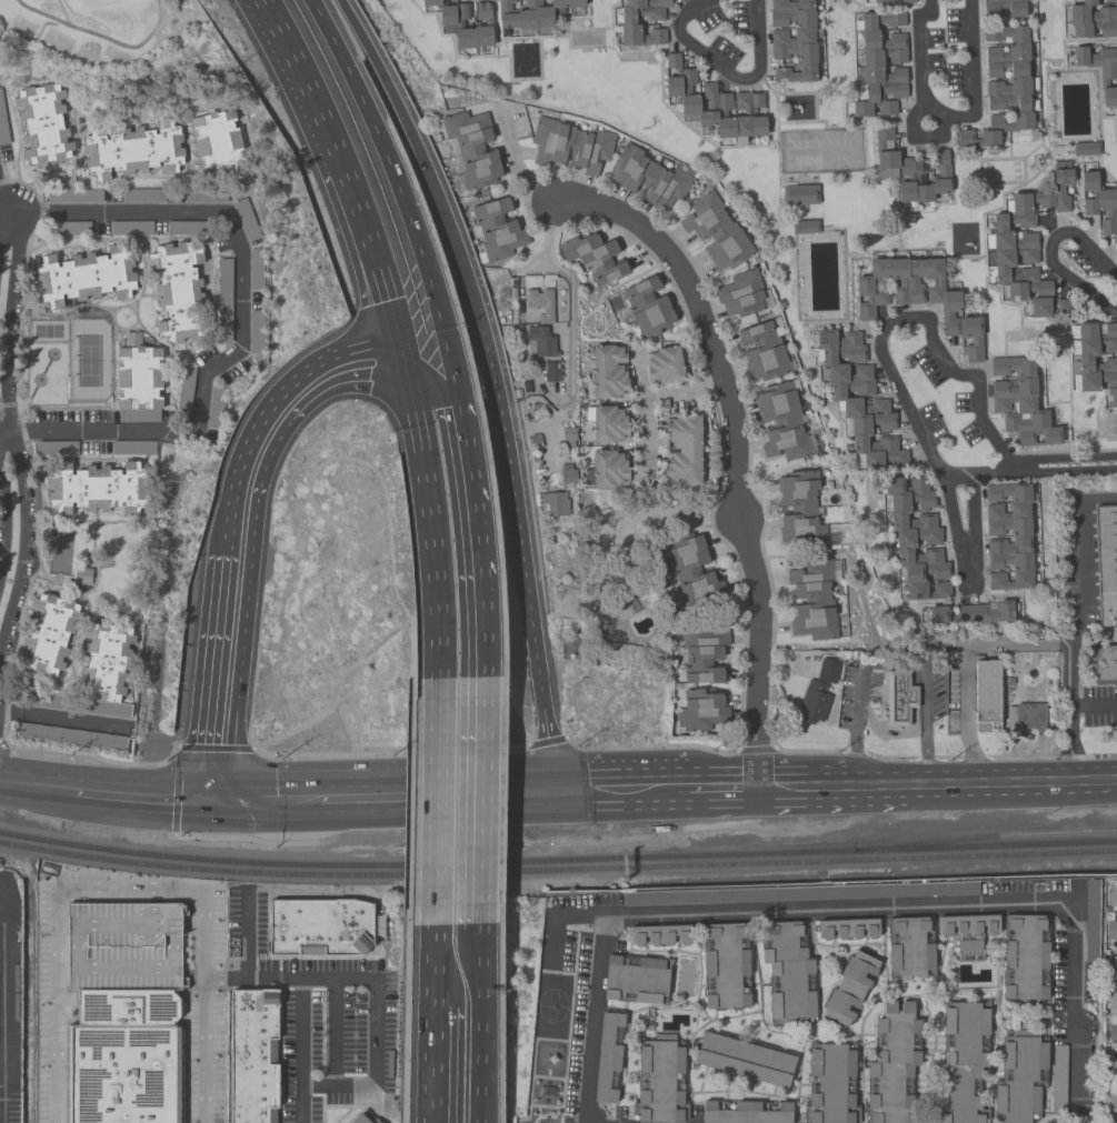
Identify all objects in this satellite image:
building: (889, 0)
building: (1004, 8)
building: (531, 14)
building: (1091, 19)
building: (627, 22)
building: (451, 27)
park: (82, 33)
building: (792, 39)
building: (878, 64)
road: (725, 71)
building: (1100, 71)
building: (1004, 86)
building: (715, 103)
road: (944, 114)
building: (42, 123)
road: (917, 137)
building: (217, 141)
road: (329, 143)
building: (569, 146)
building: (472, 148)
building: (1085, 149)
building: (132, 150)
park: (819, 151)
road: (422, 159)
road: (519, 163)
building: (910, 169)
building: (647, 177)
building: (799, 194)
building: (80, 197)
building: (144, 197)
road: (401, 198)
road: (6, 203)
building: (1099, 205)
building: (804, 227)
building: (131, 228)
building: (70, 229)
building: (496, 230)
building: (715, 231)
road: (548, 241)
building: (1025, 242)
road: (1048, 249)
building: (594, 257)
building: (84, 275)
building: (178, 292)
building: (740, 294)
building: (917, 295)
building: (225, 299)
building: (540, 303)
building: (646, 308)
road: (571, 315)
road: (917, 317)
road: (241, 320)
road: (393, 325)
building: (257, 329)
building: (541, 340)
building: (762, 350)
traffic signals: (401, 360)
building: (664, 364)
building: (1094, 368)
building: (552, 371)
building: (607, 371)
building: (137, 380)
road: (431, 381)
road: (681, 391)
road: (297, 394)
building: (857, 399)
building: (1019, 401)
road: (642, 413)
building: (780, 421)
building: (606, 423)
building: (568, 433)
road: (16, 447)
building: (682, 449)
road: (734, 449)
road: (1065, 464)
building: (605, 469)
building: (567, 475)
road: (956, 475)
building: (94, 488)
road: (470, 493)
building: (553, 503)
road: (973, 508)
building: (799, 509)
road: (669, 515)
road: (428, 518)
road: (241, 524)
road: (956, 533)
road: (336, 534)
building: (1019, 537)
building: (916, 538)
road: (0, 543)
road: (522, 557)
road: (168, 558)
road: (1079, 558)
building: (1106, 564)
building: (691, 570)
building: (81, 575)
building: (812, 599)
building: (971, 612)
road: (478, 629)
building: (48, 634)
road: (1040, 646)
road: (411, 649)
building: (702, 654)
building: (104, 661)
road: (910, 663)
building: (1105, 663)
road: (352, 665)
building: (827, 670)
road: (222, 678)
building: (986, 691)
building: (898, 698)
building: (812, 701)
building: (701, 710)
building: (1026, 715)
road: (1069, 718)
road: (966, 719)
road: (347, 726)
road: (910, 731)
road: (546, 743)
road: (651, 746)
road: (756, 748)
road: (216, 749)
road: (379, 753)
road: (850, 754)
road: (92, 755)
road: (855, 756)
road: (1020, 758)
road: (925, 773)
road: (1011, 780)
road: (722, 784)
road: (801, 784)
road: (877, 784)
road: (618, 786)
road: (37, 789)
traffic signals: (548, 789)
road: (453, 791)
road: (176, 792)
road: (142, 799)
road: (478, 800)
traffic signals: (212, 802)
road: (340, 802)
road: (433, 802)
road: (408, 803)
road: (266, 808)
railway: (985, 836)
road: (245, 840)
railway: (985, 844)
railway: (426, 864)
railway: (557, 870)
road: (134, 891)
building: (799, 894)
building: (1113, 895)
road: (842, 909)
road: (557, 915)
building: (1090, 920)
road: (197, 925)
building: (845, 929)
building: (319, 930)
building: (967, 930)
building: (1110, 930)
road: (248, 934)
building: (659, 934)
building: (909, 947)
building: (121, 949)
parking lot: (121, 949)
building: (1024, 959)
building: (1114, 963)
road: (435, 964)
building: (725, 966)
building: (787, 973)
road: (340, 979)
building: (635, 979)
building: (849, 987)
building: (1111, 1001)
road: (54, 1004)
road: (207, 1007)
road: (476, 1023)
road: (403, 1024)
building: (1111, 1029)
road: (333, 1050)
road: (300, 1051)
building: (252, 1056)
building: (606, 1056)
parking lot: (203, 1057)
building: (119, 1059)
building: (744, 1059)
building: (961, 1062)
road: (435, 1063)
building: (891, 1064)
building: (1113, 1066)
building: (1019, 1075)
building: (830, 1081)
building: (659, 1082)
road: (356, 1086)
building: (1110, 1101)
building: (745, 1112)
building: (362, 1120)
building: (1114, 1121)

